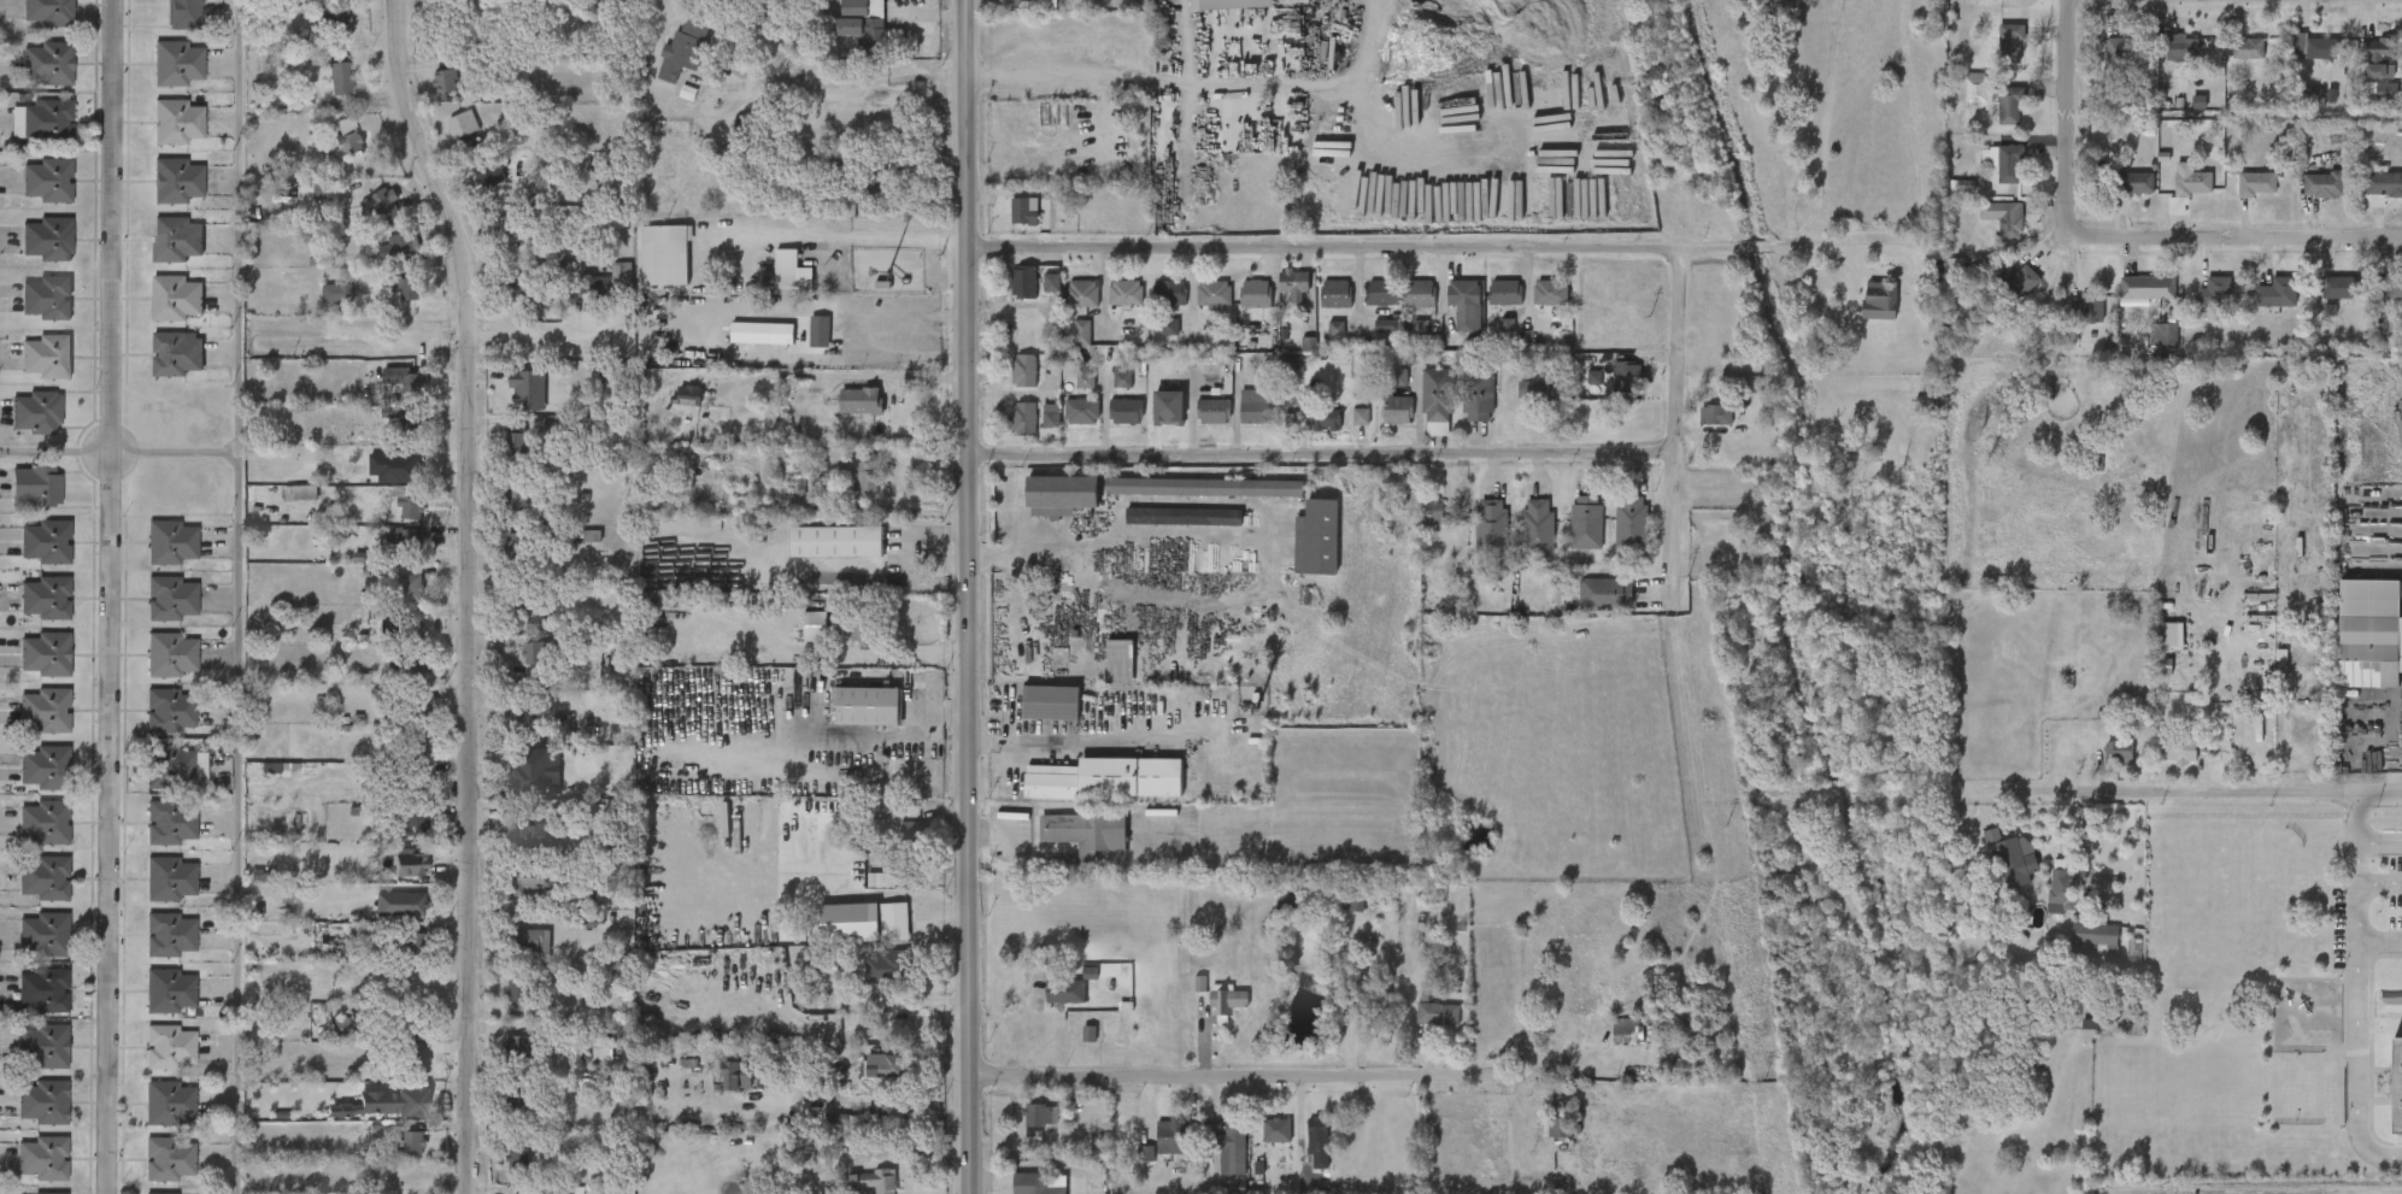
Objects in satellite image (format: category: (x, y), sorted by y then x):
building: (1023, 2)
building: (1229, 5)
building: (47, 12)
building: (183, 14)
building: (328, 19)
building: (862, 24)
building: (2009, 45)
building: (2312, 47)
building: (682, 49)
building: (2184, 49)
building: (2247, 49)
building: (2382, 51)
building: (2125, 52)
building: (177, 63)
building: (47, 64)
building: (337, 77)
road: (1057, 77)
road: (1253, 78)
building: (445, 81)
road: (845, 86)
building: (1974, 86)
building: (2386, 93)
building: (2314, 98)
building: (2009, 107)
road: (2066, 118)
building: (177, 120)
building: (46, 122)
building: (462, 123)
building: (348, 135)
building: (2005, 164)
building: (487, 171)
building: (46, 180)
building: (176, 181)
building: (2190, 182)
building: (870, 183)
building: (2133, 184)
building: (2256, 184)
building: (2384, 184)
building: (2321, 186)
building: (315, 192)
building: (383, 202)
building: (1021, 211)
building: (2002, 218)
building: (510, 227)
building: (46, 237)
road: (839, 237)
building: (177, 239)
road: (2233, 240)
building: (395, 246)
road: (1439, 249)
building: (664, 254)
building: (789, 269)
building: (1293, 280)
building: (593, 281)
building: (1022, 281)
building: (2018, 281)
building: (1051, 282)
building: (515, 284)
building: (2341, 288)
building: (410, 289)
building: (2146, 289)
building: (2394, 289)
building: (1123, 292)
building: (337, 293)
building: (1081, 293)
building: (1168, 293)
building: (1211, 293)
building: (1255, 293)
building: (1334, 293)
building: (1381, 293)
building: (1503, 293)
building: (1549, 293)
building: (1419, 294)
building: (2215, 294)
building: (2275, 294)
building: (46, 296)
building: (177, 298)
building: (1463, 298)
building: (1878, 304)
building: (2092, 306)
road: (718, 311)
road: (902, 325)
building: (1170, 327)
building: (1387, 327)
building: (1212, 329)
building: (1337, 329)
building: (818, 330)
building: (762, 331)
building: (1081, 333)
building: (2163, 335)
road: (471, 336)
road: (902, 349)
building: (176, 353)
building: (46, 355)
building: (1023, 367)
road: (847, 375)
building: (1628, 376)
building: (403, 377)
building: (1595, 377)
building: (1398, 378)
building: (1122, 380)
building: (1086, 381)
building: (529, 389)
building: (1538, 390)
building: (685, 393)
building: (1437, 395)
building: (1476, 395)
building: (861, 400)
building: (1925, 404)
building: (35, 407)
building: (1169, 407)
building: (1080, 408)
building: (1211, 408)
building: (1124, 410)
building: (1255, 410)
building: (1396, 410)
road: (1674, 411)
building: (1050, 412)
building: (1359, 416)
building: (1716, 416)
building: (1023, 417)
building: (1317, 419)
building: (515, 441)
road: (118, 451)
road: (1320, 455)
building: (395, 467)
building: (864, 472)
building: (36, 484)
building: (1203, 487)
building: (1062, 493)
building: (300, 494)
building: (515, 498)
building: (410, 501)
building: (1434, 512)
building: (1184, 517)
building: (1631, 524)
building: (1586, 527)
building: (1491, 528)
building: (1538, 528)
building: (585, 535)
aquafarm: (1556, 536)
building: (1317, 539)
building: (45, 540)
building: (171, 540)
building: (838, 540)
road: (1016, 540)
building: (405, 541)
building: (518, 547)
road: (1267, 553)
road: (905, 554)
road: (829, 580)
building: (407, 582)
road: (476, 590)
building: (1605, 594)
building: (45, 596)
road: (111, 596)
road: (236, 596)
road: (968, 596)
building: (171, 598)
building: (532, 616)
building: (815, 624)
building: (407, 628)
building: (2369, 631)
building: (2171, 636)
building: (43, 653)
building: (171, 654)
building: (535, 655)
building: (1120, 661)
building: (401, 665)
building: (2163, 666)
building: (1051, 702)
building: (870, 704)
building: (405, 706)
building: (43, 710)
building: (170, 710)
building: (516, 722)
road: (846, 741)
road: (1068, 742)
building: (410, 745)
building: (2179, 748)
building: (2120, 749)
building: (648, 759)
building: (43, 766)
building: (175, 766)
building: (513, 766)
building: (275, 769)
building: (1109, 778)
road: (2219, 793)
building: (170, 822)
building: (410, 822)
building: (43, 823)
building: (1087, 829)
building: (912, 833)
building: (539, 835)
road: (2379, 835)
road: (1005, 847)
building: (2013, 859)
building: (410, 863)
building: (42, 877)
building: (170, 877)
building: (259, 877)
road: (2379, 880)
building: (528, 886)
building: (2062, 892)
building: (409, 900)
building: (1353, 901)
building: (894, 919)
building: (585, 921)
building: (169, 930)
building: (45, 935)
building: (2097, 937)
building: (529, 941)
building: (409, 942)
road: (2379, 942)
building: (887, 966)
building: (42, 989)
building: (521, 989)
building: (169, 990)
road: (2355, 990)
building: (1065, 993)
building: (1228, 1000)
building: (1437, 1014)
building: (409, 1023)
road: (1018, 1024)
building: (1108, 1025)
building: (1627, 1031)
building: (1090, 1034)
building: (43, 1045)
building: (519, 1045)
building: (169, 1046)
building: (603, 1049)
building: (410, 1061)
building: (889, 1066)
road: (1566, 1074)
building: (728, 1076)
road: (1238, 1076)
building: (2396, 1082)
building: (42, 1101)
building: (169, 1102)
building: (410, 1102)
building: (518, 1104)
building: (897, 1116)
building: (1036, 1116)
building: (845, 1123)
building: (1560, 1125)
building: (1234, 1130)
building: (1268, 1131)
building: (1171, 1136)
building: (413, 1142)
building: (1317, 1143)
building: (1146, 1154)
building: (517, 1155)
building: (41, 1157)
building: (169, 1158)
building: (877, 1180)
building: (1033, 1183)
building: (1238, 1186)
building: (41, 1193)
building: (148, 1193)

